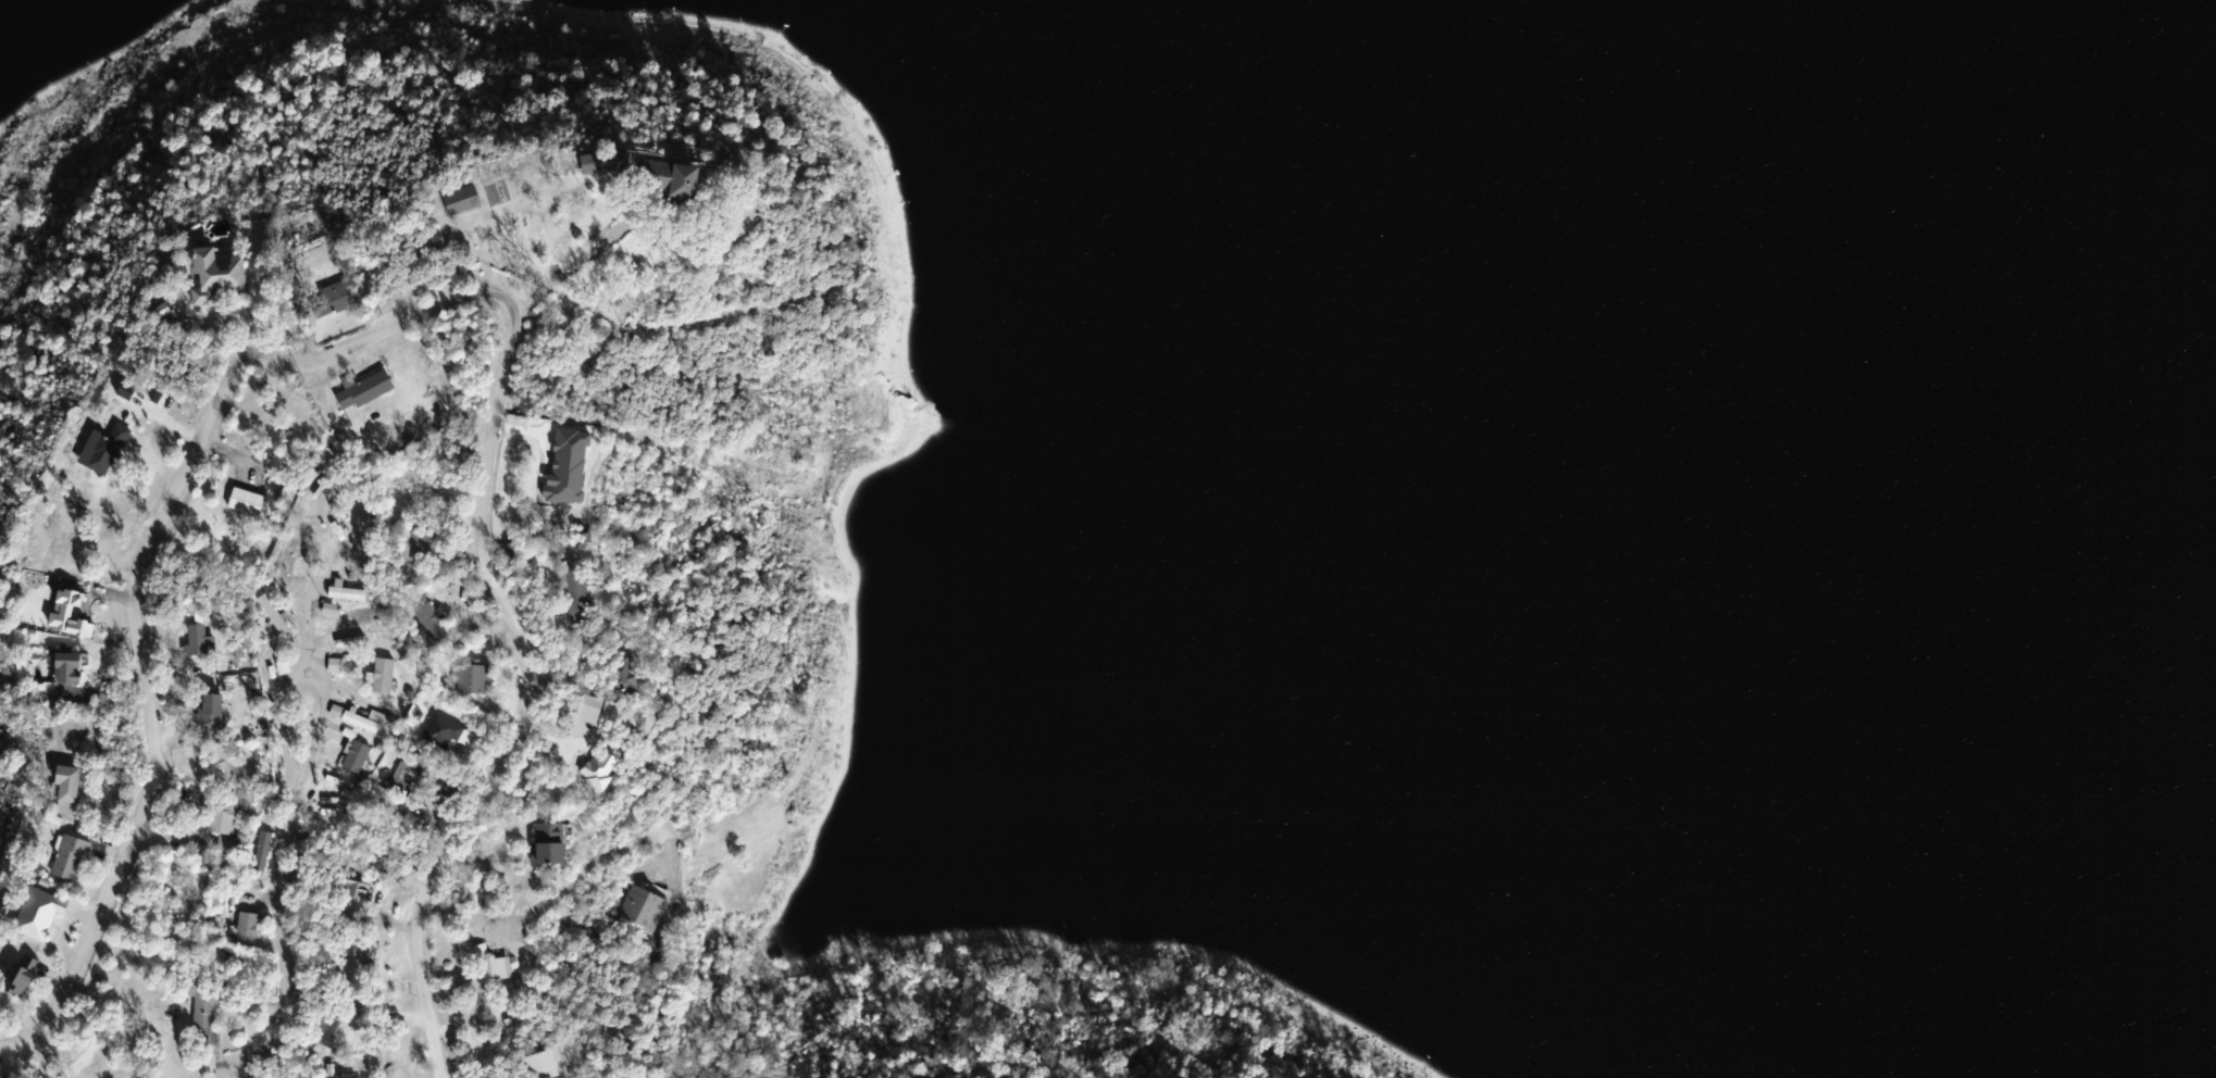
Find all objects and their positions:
building: (647, 173)
building: (462, 199)
road: (580, 259)
building: (216, 276)
building: (338, 299)
road: (402, 335)
building: (364, 390)
building: (107, 449)
building: (289, 493)
building: (247, 501)
building: (349, 534)
building: (418, 546)
building: (291, 565)
building: (578, 586)
building: (346, 593)
building: (274, 614)
building: (434, 622)
building: (202, 643)
building: (335, 665)
building: (69, 668)
building: (385, 675)
building: (474, 677)
building: (212, 709)
building: (362, 722)
building: (444, 731)
building: (359, 755)
building: (406, 778)
building: (70, 784)
building: (328, 807)
building: (225, 824)
road: (284, 839)
building: (551, 842)
building: (71, 857)
building: (353, 889)
building: (645, 906)
building: (40, 913)
building: (249, 928)
building: (496, 968)
building: (23, 975)
building: (207, 1005)
building: (328, 1028)
building: (545, 1064)

